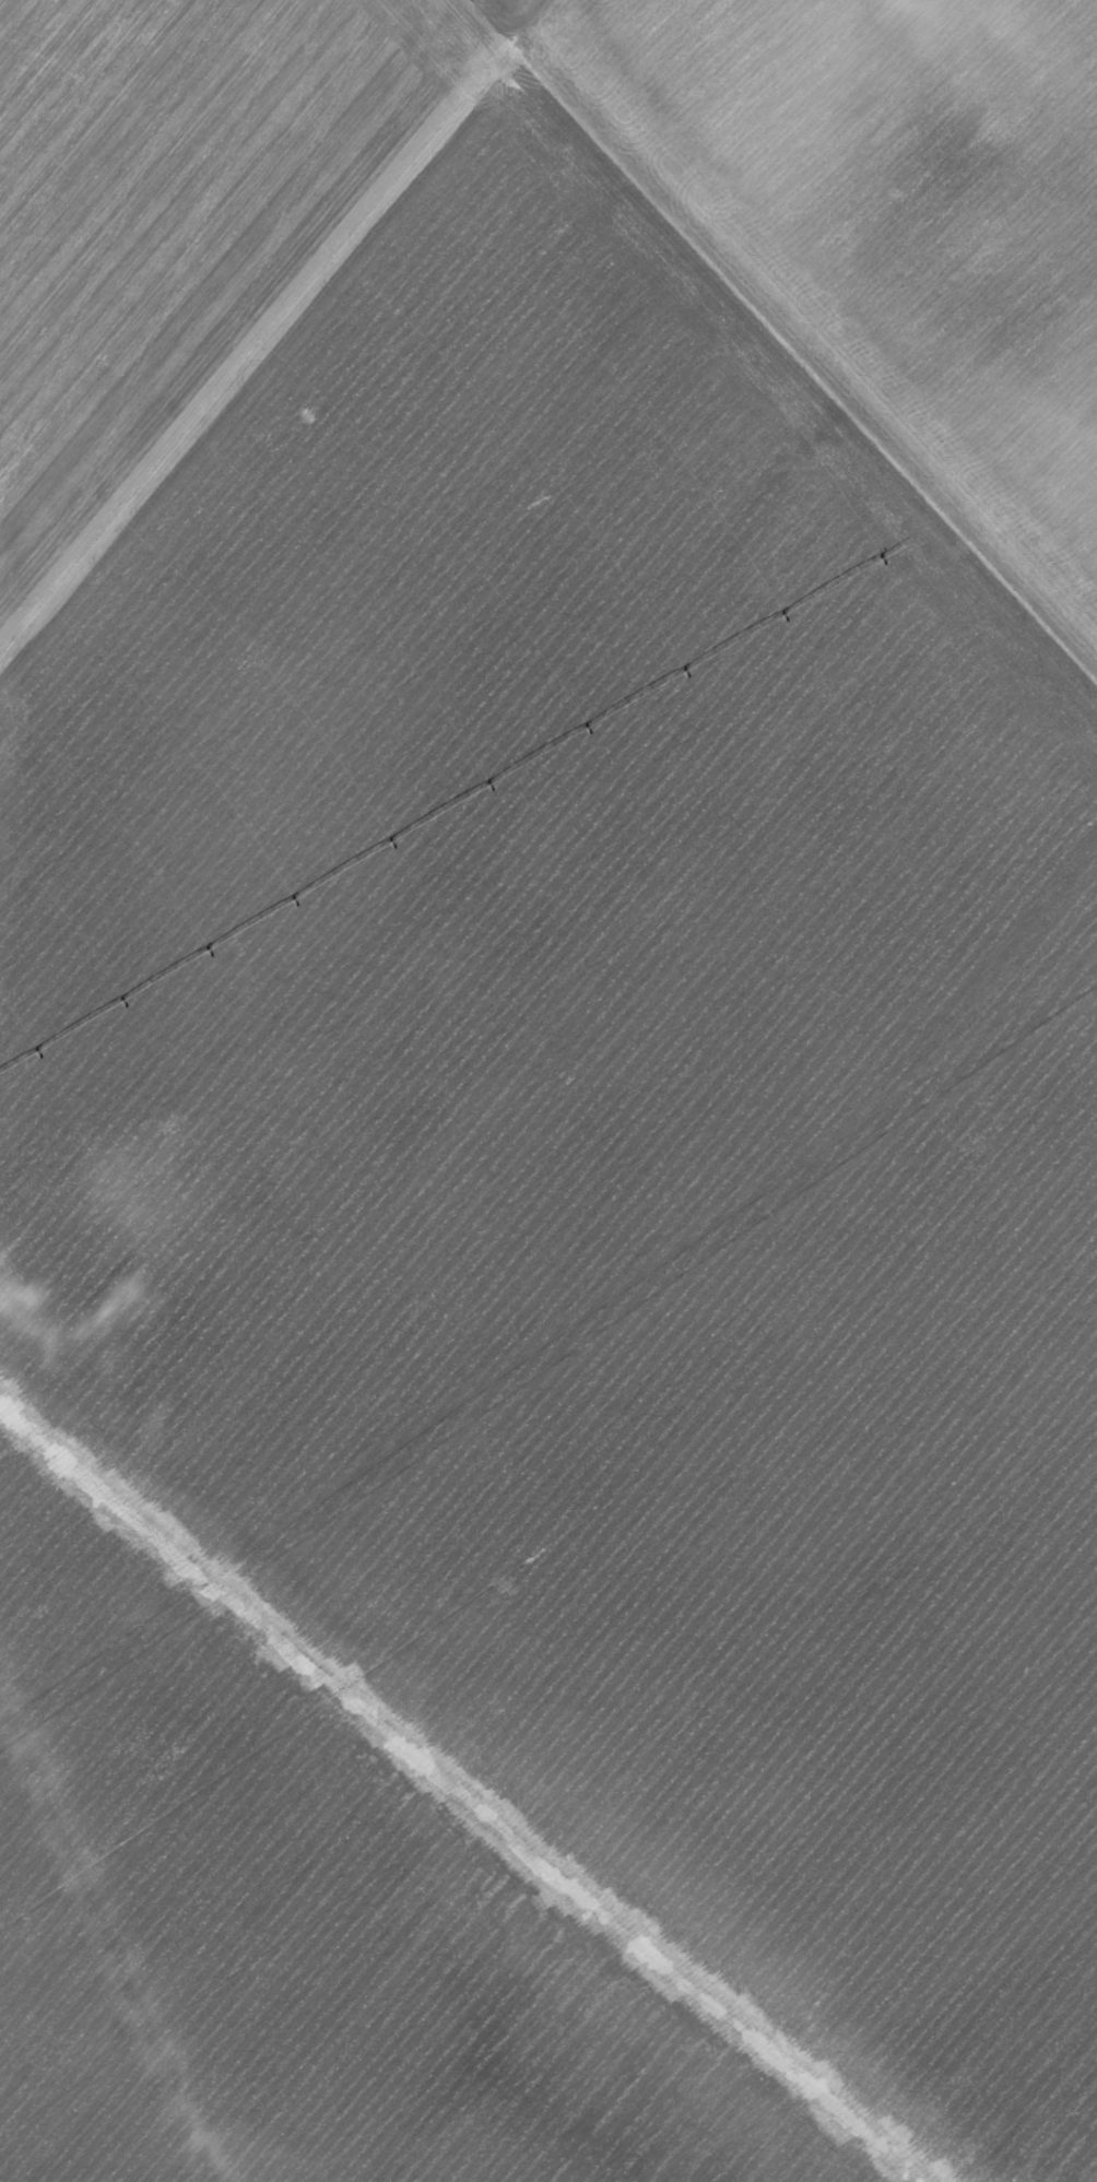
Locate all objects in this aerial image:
road: (108, 1943)

